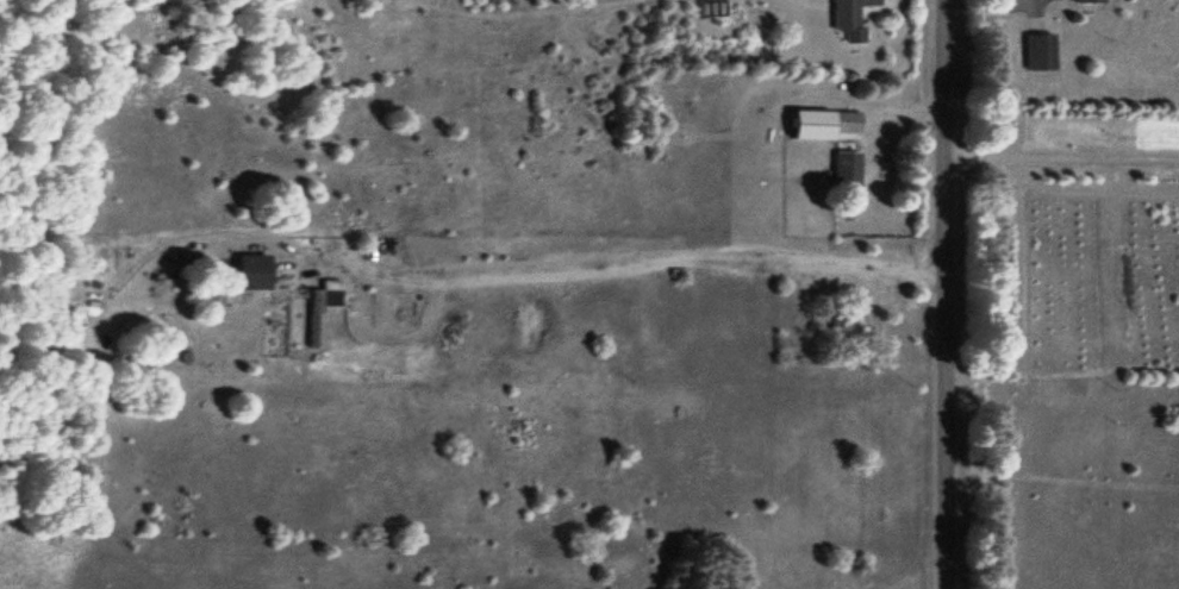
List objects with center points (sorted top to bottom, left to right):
building: (1085, 1)
building: (846, 18)
building: (1036, 54)
building: (821, 126)
building: (843, 174)
building: (247, 272)
road: (942, 294)

